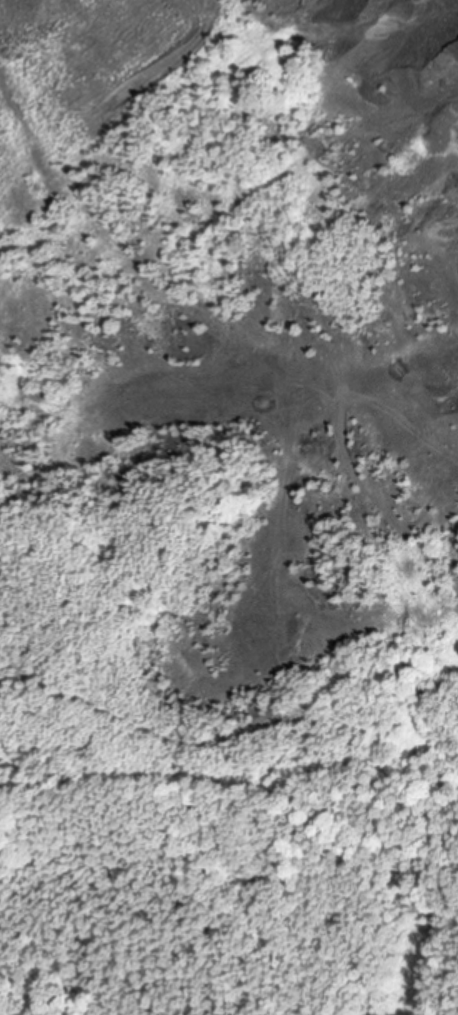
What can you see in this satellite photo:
quarry: (228, 393)
quarry: (268, 406)

